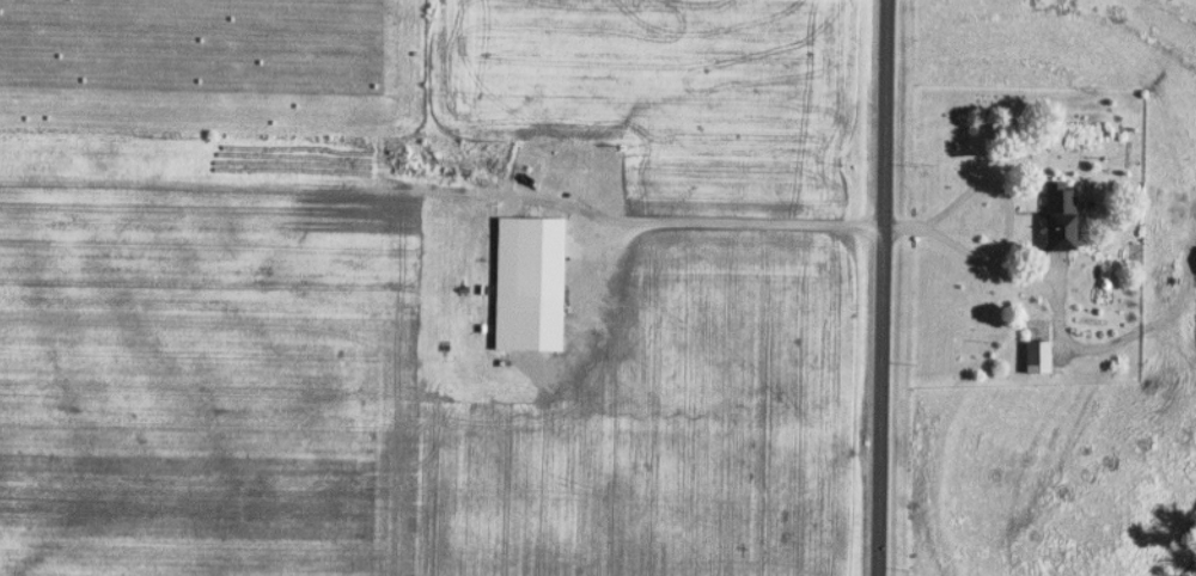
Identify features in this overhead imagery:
road: (1002, 204)
building: (1056, 215)
road: (727, 225)
building: (535, 262)
road: (881, 288)
building: (1035, 355)

